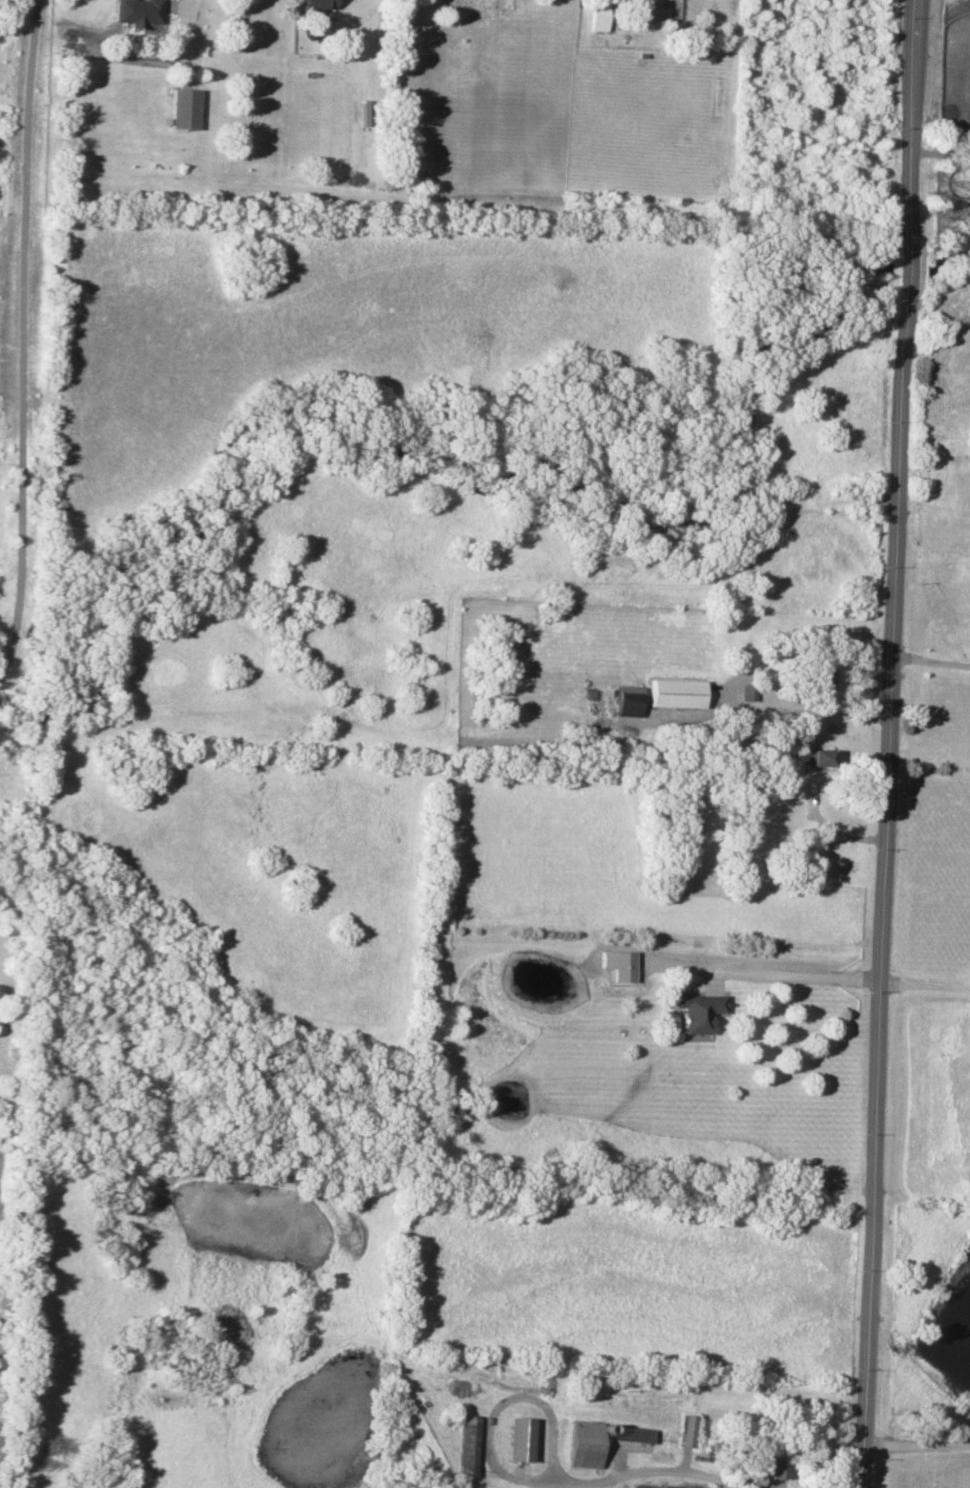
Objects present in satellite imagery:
building: (314, 4)
building: (138, 12)
road: (191, 13)
building: (600, 17)
building: (184, 108)
road: (940, 151)
road: (22, 333)
road: (931, 654)
building: (823, 679)
building: (746, 691)
building: (676, 692)
building: (628, 700)
road: (757, 707)
road: (888, 743)
building: (819, 757)
road: (828, 827)
building: (617, 964)
road: (788, 974)
road: (925, 981)
building: (697, 1011)
building: (518, 1439)
building: (620, 1439)
road: (916, 1443)
road: (513, 1476)
road: (736, 1484)
building: (666, 1486)

